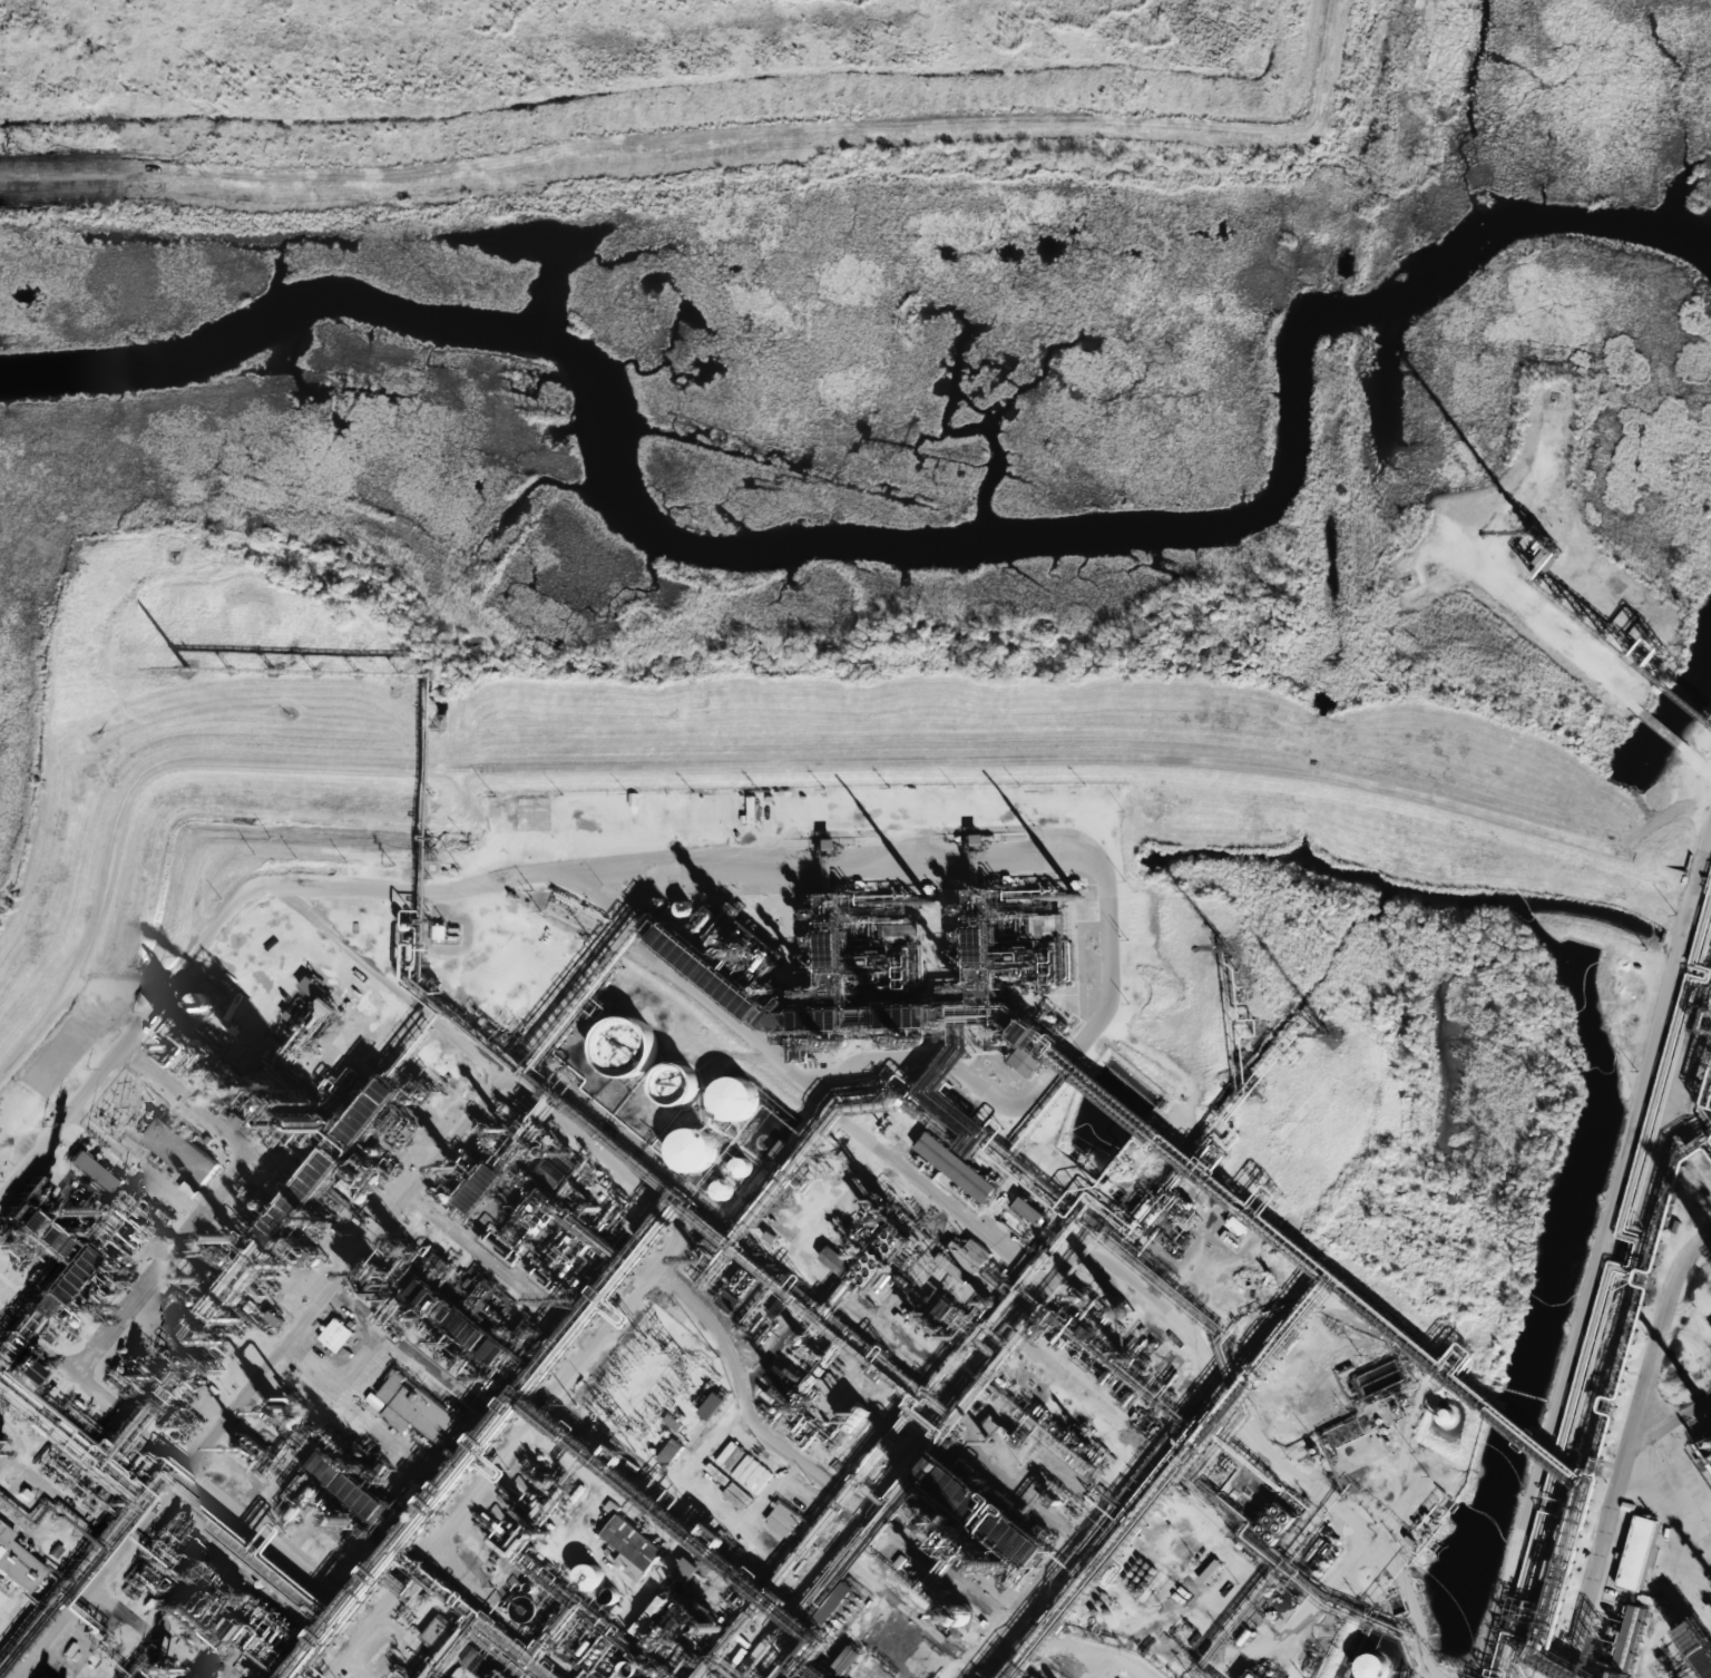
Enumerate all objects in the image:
road: (764, 762)
building: (529, 809)
road: (687, 867)
building: (981, 895)
building: (749, 946)
building: (691, 952)
building: (863, 974)
building: (311, 997)
building: (801, 1047)
building: (618, 1050)
building: (1026, 1061)
building: (668, 1085)
building: (726, 1100)
building: (305, 1118)
building: (180, 1140)
building: (685, 1150)
building: (734, 1164)
building: (957, 1167)
building: (717, 1187)
building: (1029, 1210)
building: (1236, 1225)
building: (511, 1252)
building: (964, 1258)
building: (835, 1259)
road: (333, 1274)
road: (1601, 1275)
building: (275, 1317)
building: (336, 1326)
building: (782, 1377)
building: (713, 1405)
building: (414, 1408)
building: (284, 1415)
building: (855, 1416)
road: (1620, 1443)
building: (254, 1450)
building: (355, 1490)
building: (987, 1518)
building: (784, 1519)
building: (1277, 1522)
building: (519, 1526)
building: (629, 1538)
building: (1632, 1553)
building: (17, 1563)
building: (1210, 1570)
building: (583, 1575)
building: (839, 1598)
building: (672, 1601)
building: (437, 1630)
building: (1624, 1639)
building: (444, 1640)
building: (848, 1658)
building: (1360, 1667)
building: (401, 1672)
building: (264, 1676)
building: (1035, 1676)
building: (38, 1677)
building: (1029, 1677)

